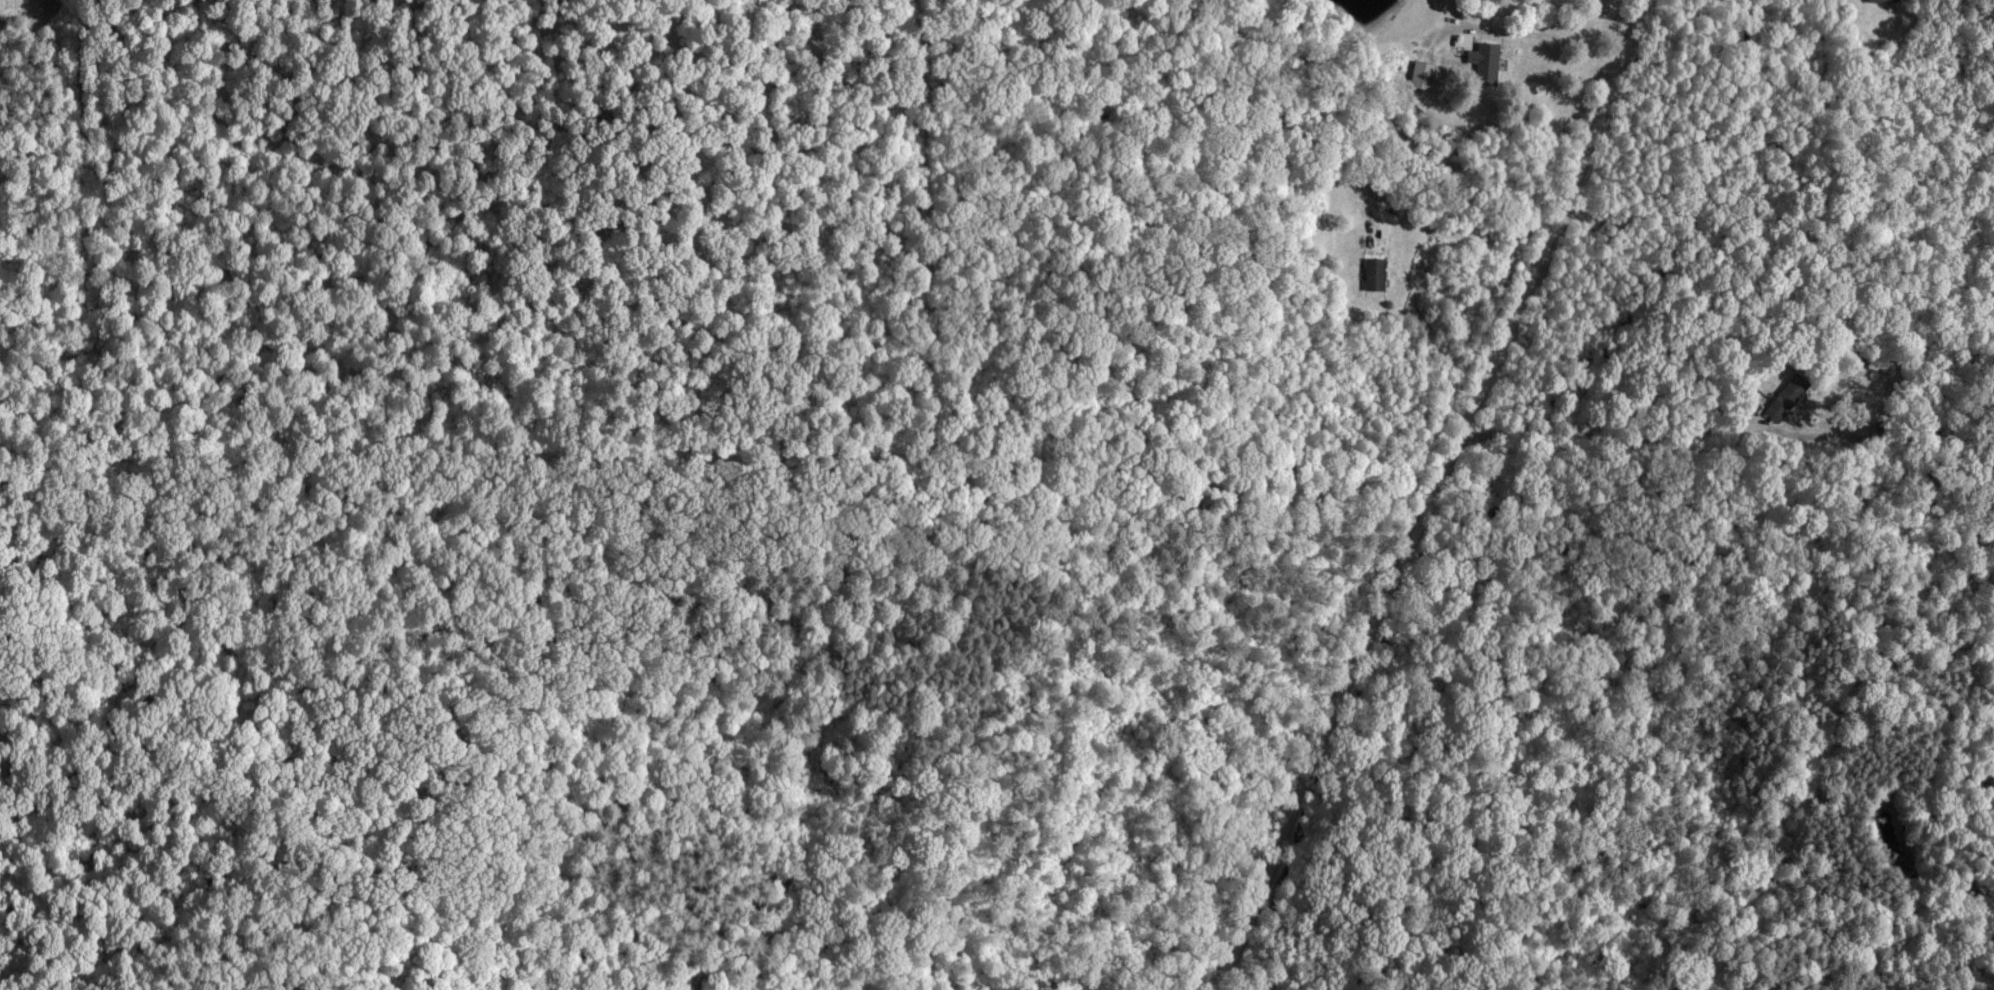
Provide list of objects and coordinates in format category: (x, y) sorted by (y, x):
building: (1880, 0)
road: (1556, 42)
building: (1484, 62)
building: (1418, 74)
road: (1473, 239)
building: (1371, 272)
building: (1784, 396)
road: (1429, 495)

